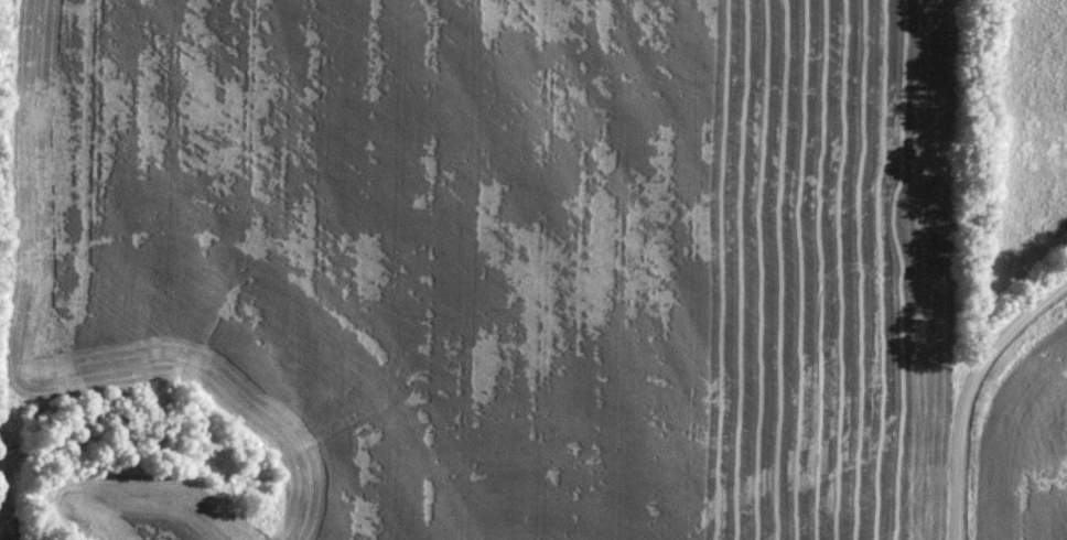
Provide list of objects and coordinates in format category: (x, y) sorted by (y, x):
road: (964, 389)

